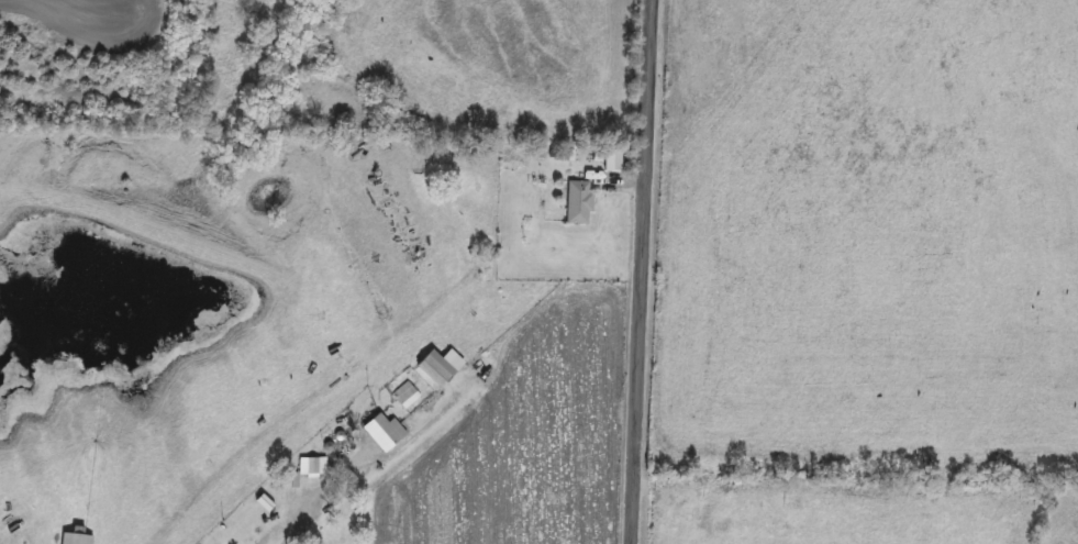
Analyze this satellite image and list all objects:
building: (578, 204)
road: (638, 271)
building: (434, 369)
building: (405, 396)
building: (384, 432)
building: (311, 468)
building: (289, 481)
road: (314, 506)
building: (76, 539)

